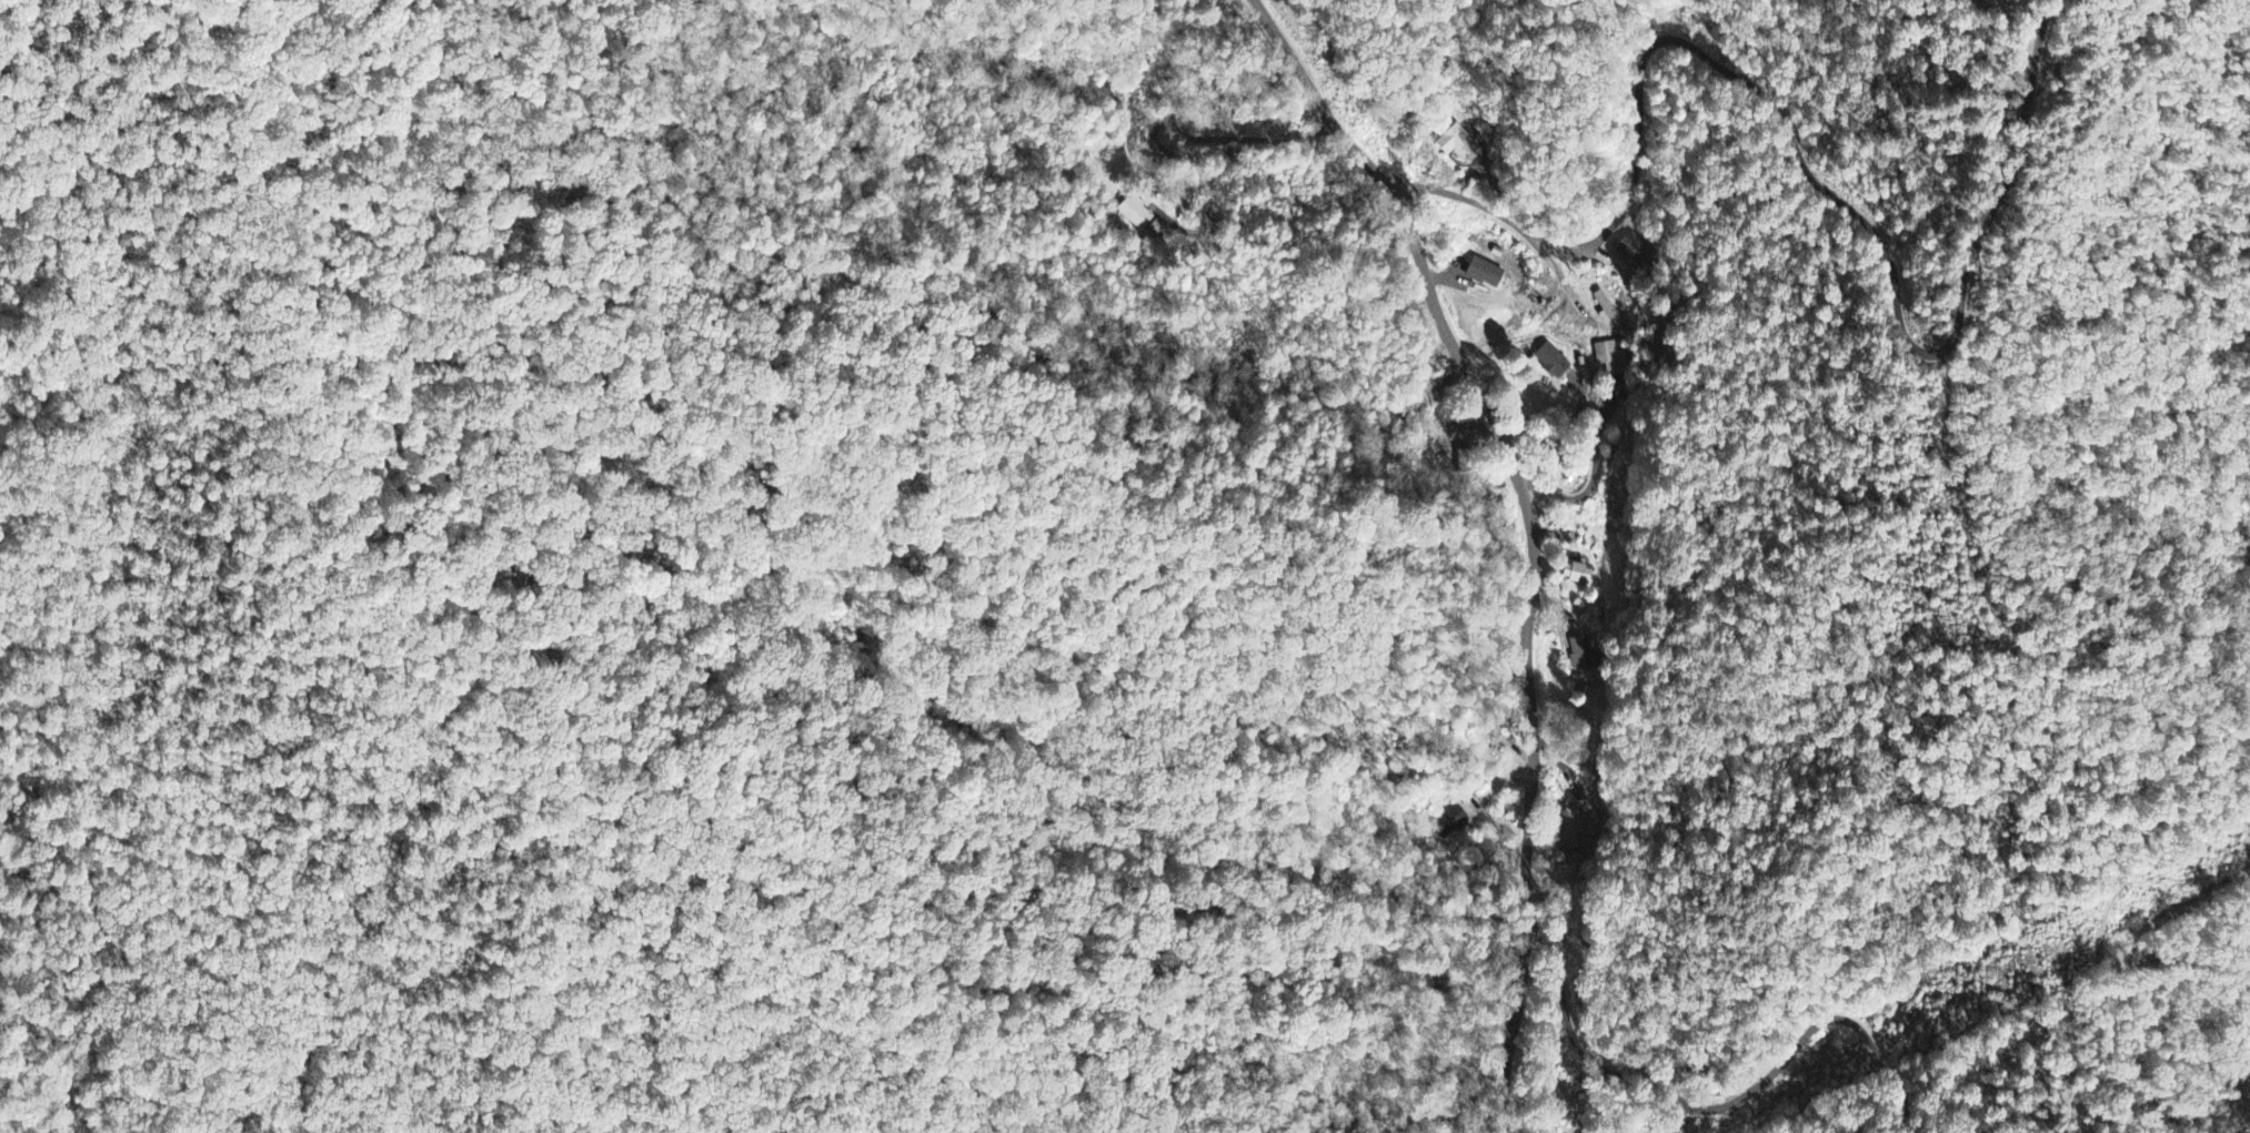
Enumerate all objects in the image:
road: (2119, 101)
building: (1459, 145)
road: (1807, 158)
building: (1136, 214)
building: (1630, 249)
building: (1484, 273)
building: (1551, 362)
road: (1949, 392)
road: (1531, 532)
building: (1575, 575)
building: (1580, 655)
road: (2132, 758)
building: (1449, 823)
road: (1722, 1106)

